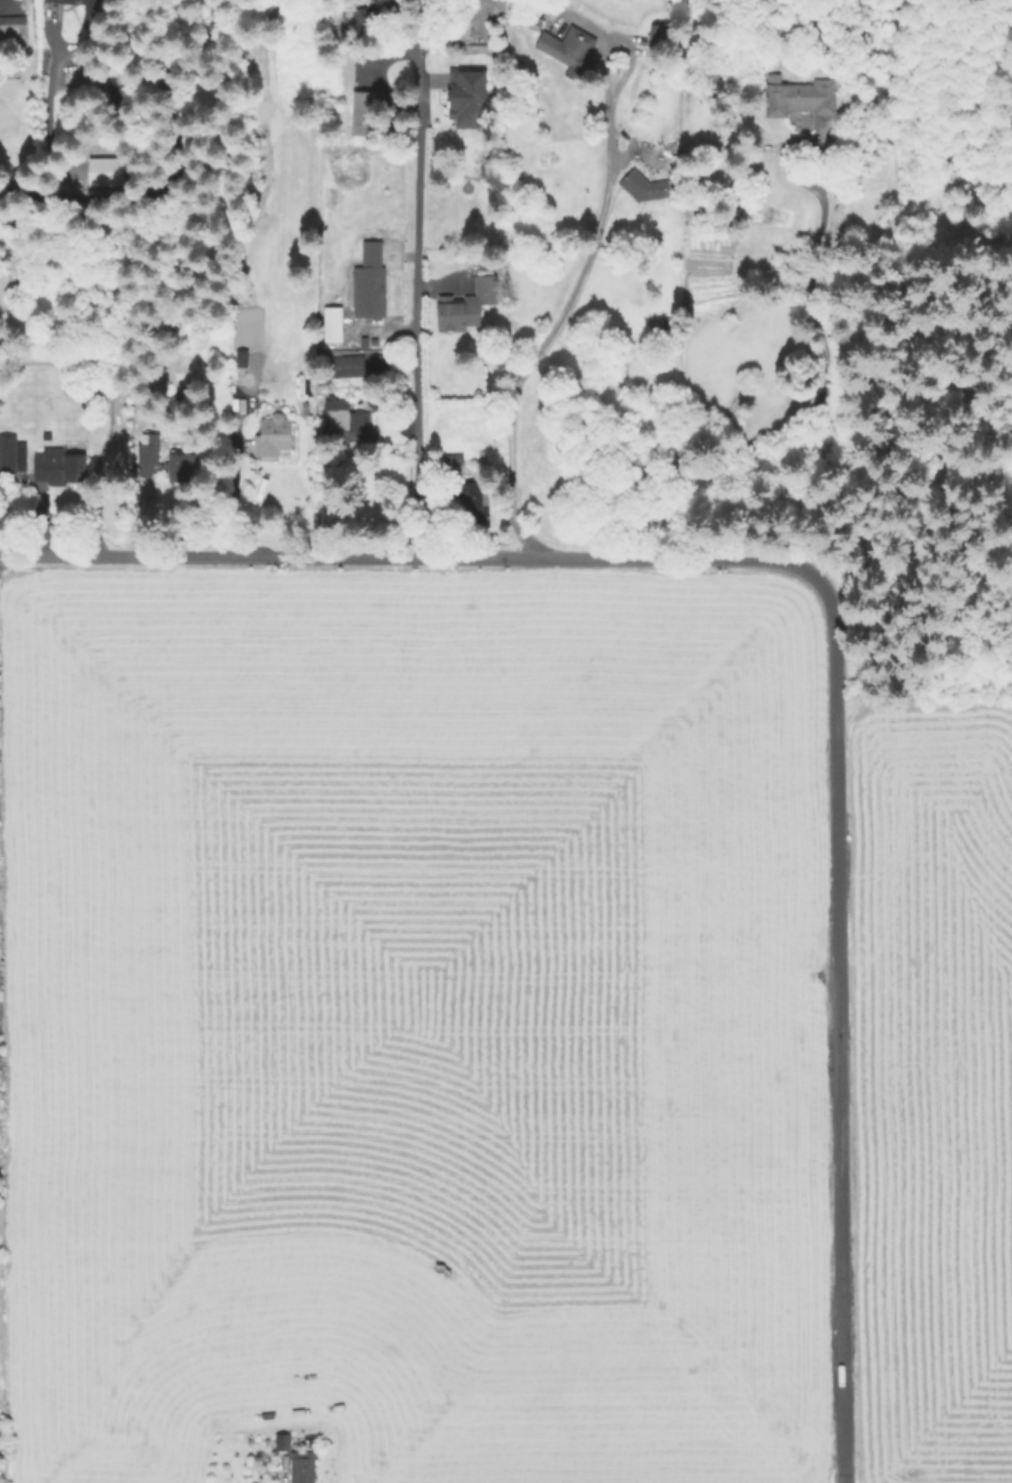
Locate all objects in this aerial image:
building: (89, 16)
building: (355, 19)
building: (480, 19)
building: (536, 22)
building: (14, 34)
building: (657, 35)
building: (571, 52)
building: (468, 96)
building: (801, 100)
building: (363, 112)
road: (45, 133)
building: (644, 187)
road: (421, 280)
building: (370, 283)
building: (486, 290)
road: (565, 309)
building: (451, 312)
building: (334, 324)
building: (249, 326)
building: (344, 368)
road: (824, 368)
building: (307, 413)
building: (345, 421)
building: (274, 437)
building: (12, 455)
building: (149, 455)
building: (58, 467)
building: (179, 468)
road: (235, 489)
building: (465, 493)
road: (409, 560)
road: (835, 1028)
building: (283, 1442)
building: (303, 1467)

